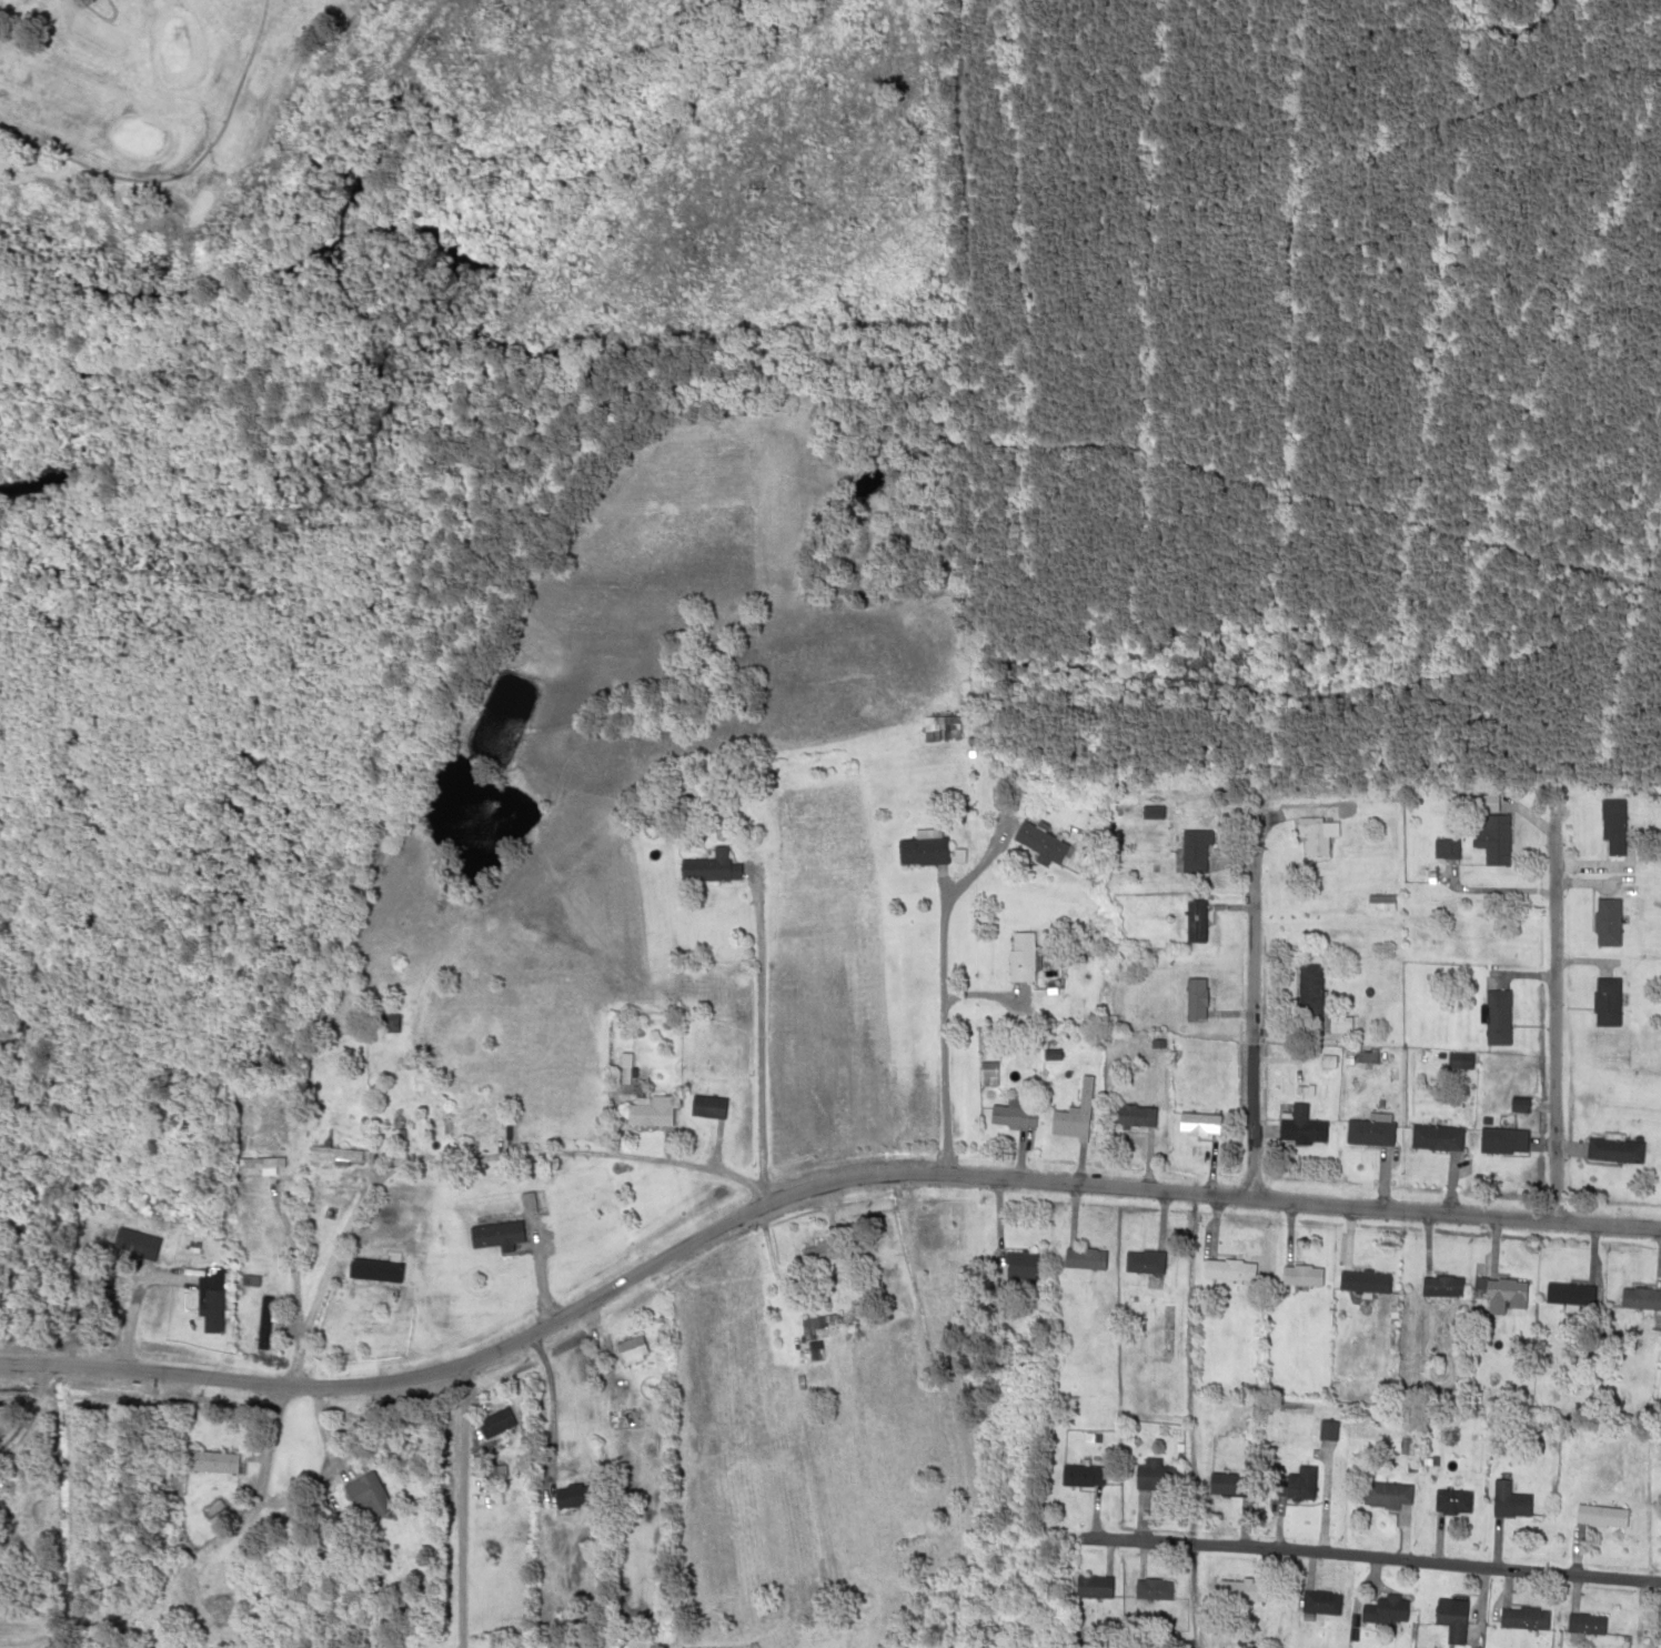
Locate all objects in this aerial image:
park: (145, 90)
building: (938, 726)
building: (969, 745)
building: (1150, 812)
building: (1612, 827)
building: (926, 832)
building: (1318, 837)
building: (1496, 838)
building: (1450, 846)
building: (920, 850)
building: (1191, 851)
building: (956, 854)
building: (707, 867)
building: (1379, 902)
building: (1194, 920)
building: (1607, 921)
building: (1020, 956)
building: (1390, 973)
building: (1308, 988)
building: (1194, 999)
building: (1605, 1002)
road: (1249, 1006)
road: (1552, 1016)
building: (1497, 1017)
building: (1340, 1025)
road: (939, 1029)
road: (756, 1036)
building: (1049, 1053)
building: (1459, 1058)
building: (1327, 1059)
building: (624, 1067)
building: (985, 1073)
building: (1044, 1081)
building: (1083, 1092)
building: (1518, 1103)
building: (705, 1104)
building: (647, 1111)
building: (1131, 1114)
building: (1011, 1116)
building: (1198, 1121)
building: (1067, 1123)
building: (1301, 1129)
building: (1369, 1132)
building: (1436, 1136)
building: (1503, 1139)
building: (1612, 1149)
building: (332, 1152)
building: (258, 1160)
road: (692, 1165)
road: (376, 1174)
road: (1210, 1195)
building: (525, 1202)
building: (540, 1205)
building: (493, 1234)
building: (144, 1245)
building: (819, 1255)
building: (1081, 1257)
building: (1141, 1263)
building: (1020, 1266)
building: (372, 1269)
building: (1227, 1270)
building: (1300, 1276)
building: (248, 1279)
building: (1362, 1282)
building: (1440, 1286)
building: (1498, 1290)
building: (1567, 1293)
building: (1639, 1299)
building: (209, 1309)
building: (252, 1329)
building: (809, 1339)
building: (630, 1348)
road: (403, 1378)
building: (499, 1419)
building: (1326, 1428)
building: (209, 1463)
building: (1080, 1475)
building: (1156, 1477)
building: (1229, 1485)
building: (1292, 1486)
building: (1387, 1491)
building: (364, 1497)
building: (571, 1497)
building: (1449, 1500)
building: (1509, 1504)
building: (1599, 1515)
road: (1366, 1558)
building: (1091, 1586)
building: (1150, 1589)
building: (1240, 1590)
building: (1320, 1601)
building: (1389, 1608)
building: (1448, 1611)
building: (217, 1612)
building: (1522, 1618)
building: (1584, 1622)

